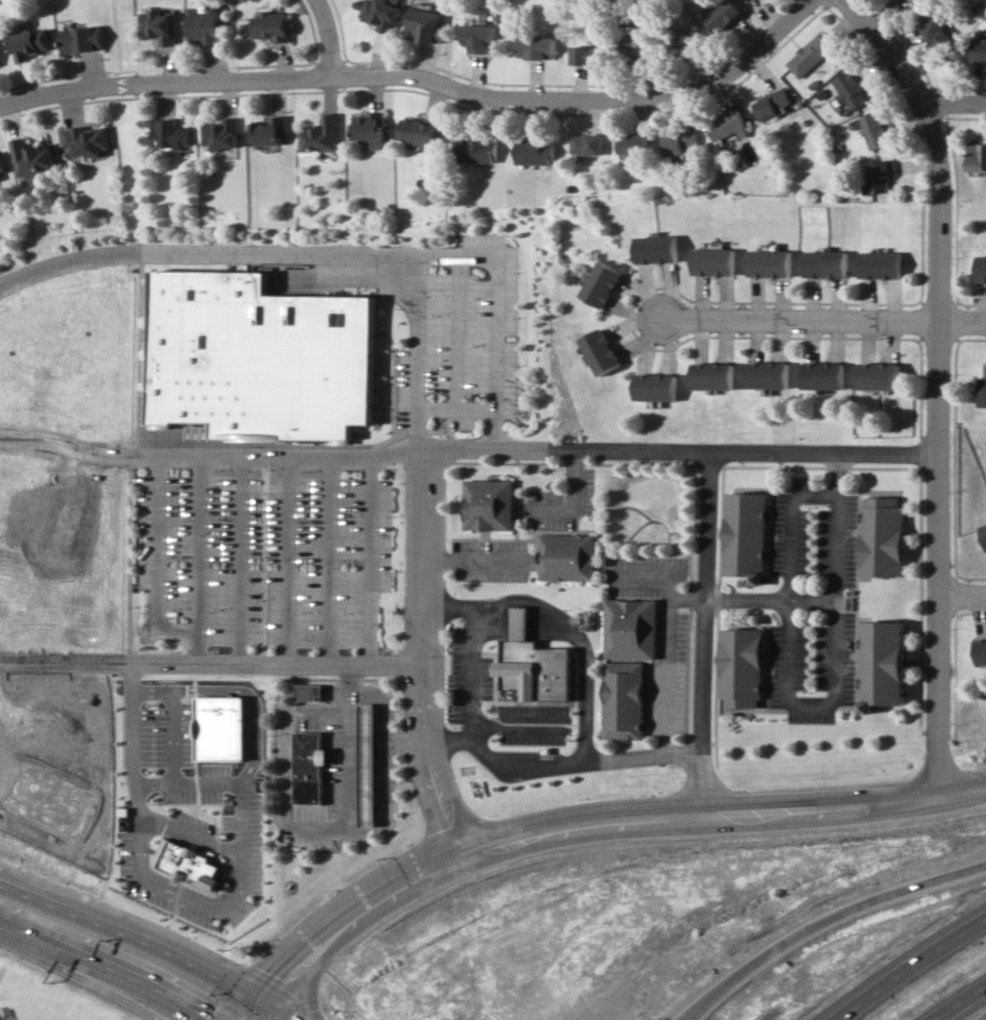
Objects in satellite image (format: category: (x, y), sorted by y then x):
building: (904, 0)
building: (918, 2)
building: (384, 14)
building: (726, 16)
building: (427, 24)
building: (160, 26)
building: (206, 26)
building: (274, 26)
building: (941, 34)
road: (331, 38)
building: (482, 38)
building: (82, 39)
building: (690, 41)
building: (32, 43)
road: (118, 43)
building: (539, 47)
building: (640, 48)
building: (980, 52)
building: (813, 54)
building: (592, 55)
building: (0, 63)
road: (165, 84)
building: (854, 88)
road: (958, 98)
road: (586, 102)
building: (775, 104)
building: (731, 125)
building: (371, 129)
building: (270, 130)
building: (878, 130)
building: (421, 132)
building: (171, 133)
building: (222, 134)
building: (322, 135)
building: (87, 140)
building: (591, 144)
building: (636, 144)
building: (684, 145)
building: (480, 149)
building: (538, 151)
building: (977, 157)
building: (34, 159)
building: (2, 164)
building: (884, 175)
building: (658, 249)
road: (340, 255)
building: (715, 262)
building: (771, 263)
building: (828, 264)
building: (883, 265)
building: (982, 269)
building: (603, 284)
road: (824, 320)
road: (462, 333)
building: (602, 351)
road: (420, 353)
building: (262, 358)
building: (770, 375)
building: (826, 375)
building: (714, 376)
building: (882, 376)
road: (940, 385)
building: (657, 387)
building: (984, 392)
road: (460, 409)
road: (537, 450)
road: (134, 457)
road: (213, 458)
road: (575, 503)
building: (493, 505)
building: (983, 531)
building: (749, 537)
building: (888, 538)
parking lot: (270, 555)
building: (571, 559)
road: (480, 560)
road: (202, 561)
road: (245, 561)
road: (292, 561)
road: (332, 561)
road: (375, 561)
road: (160, 564)
road: (841, 593)
road: (962, 595)
road: (689, 599)
building: (523, 625)
building: (634, 630)
road: (707, 634)
road: (671, 638)
road: (584, 645)
road: (793, 650)
road: (476, 651)
building: (981, 651)
road: (214, 664)
building: (887, 666)
building: (748, 668)
building: (542, 669)
building: (311, 694)
building: (628, 702)
road: (521, 726)
building: (223, 728)
road: (353, 739)
road: (561, 765)
building: (373, 767)
gas station: (373, 767)
building: (314, 769)
road: (455, 795)
road: (430, 802)
road: (285, 815)
road: (587, 827)
road: (239, 829)
building: (190, 864)
road: (163, 879)
road: (823, 919)
road: (149, 939)
road: (910, 967)
road: (110, 970)
road: (312, 971)
road: (99, 983)
road: (957, 1001)
traffic signals: (260, 1003)

